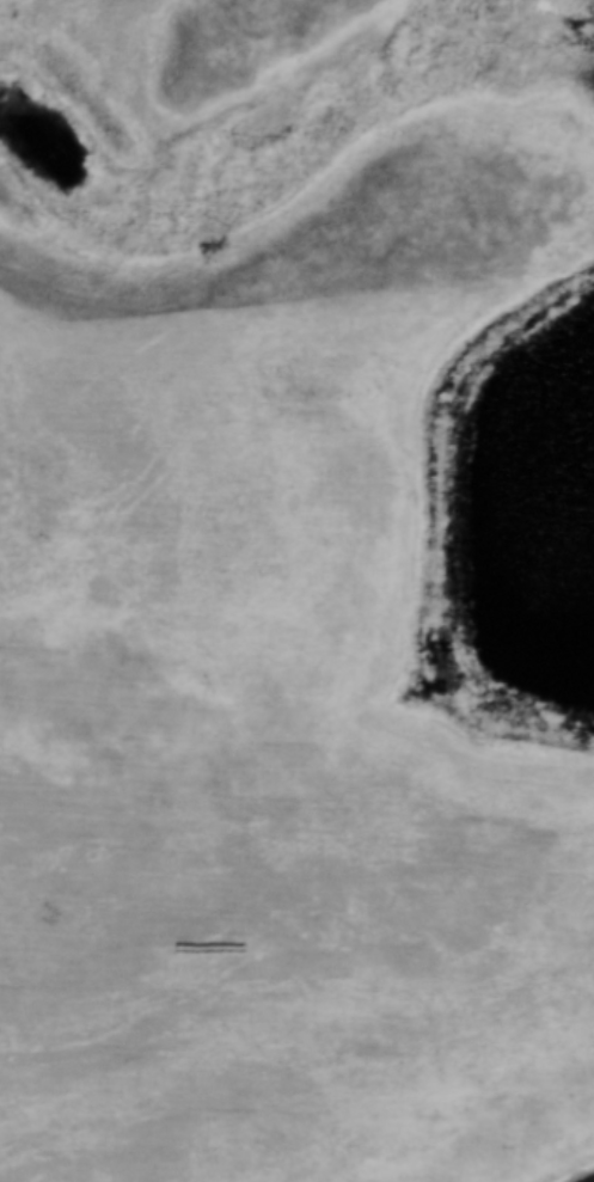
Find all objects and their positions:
building: (347, 972)

